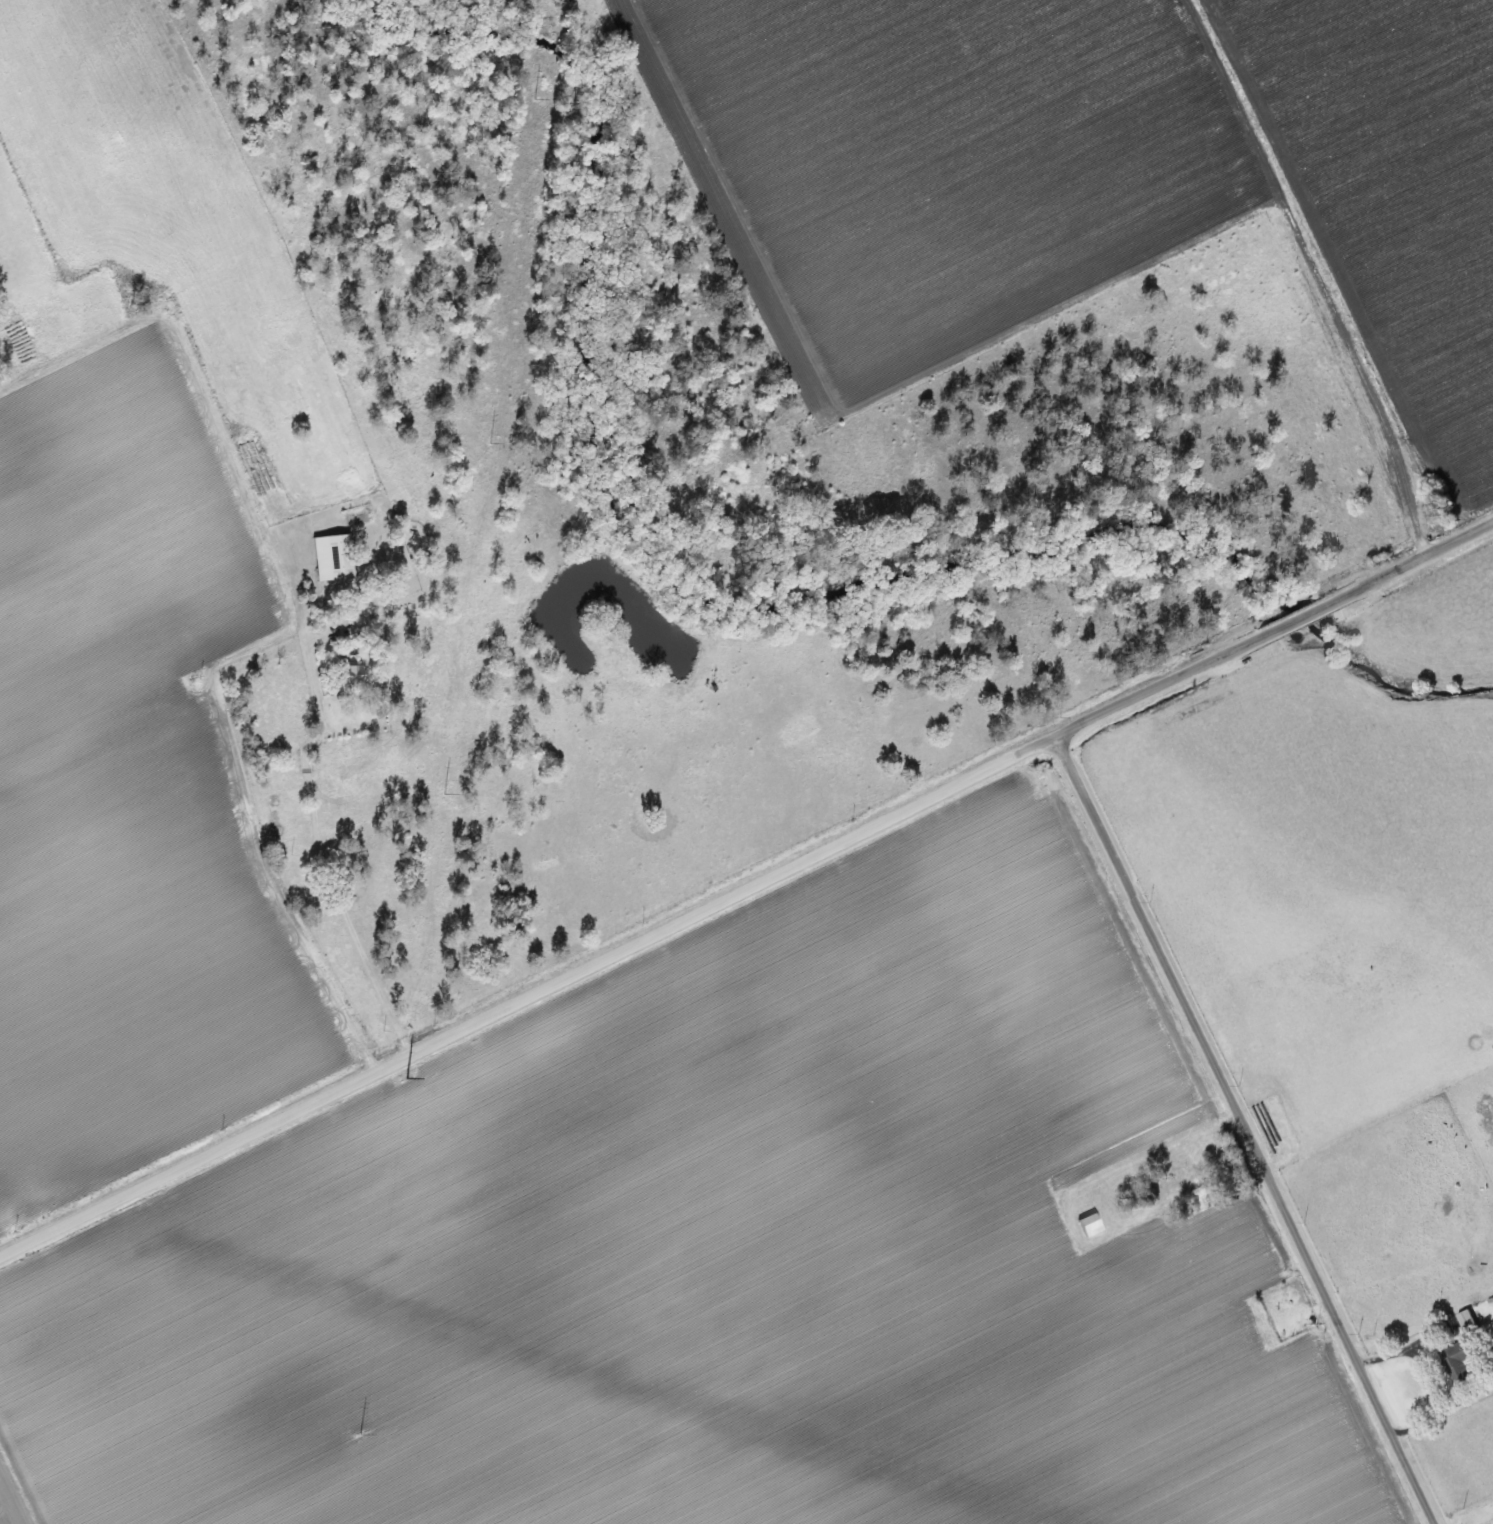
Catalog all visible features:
building: (329, 556)
road: (1253, 637)
building: (347, 671)
road: (317, 844)
road: (506, 1005)
road: (1241, 1129)
building: (1087, 1224)
building: (1465, 1319)
road: (1393, 1347)
building: (1456, 1362)

